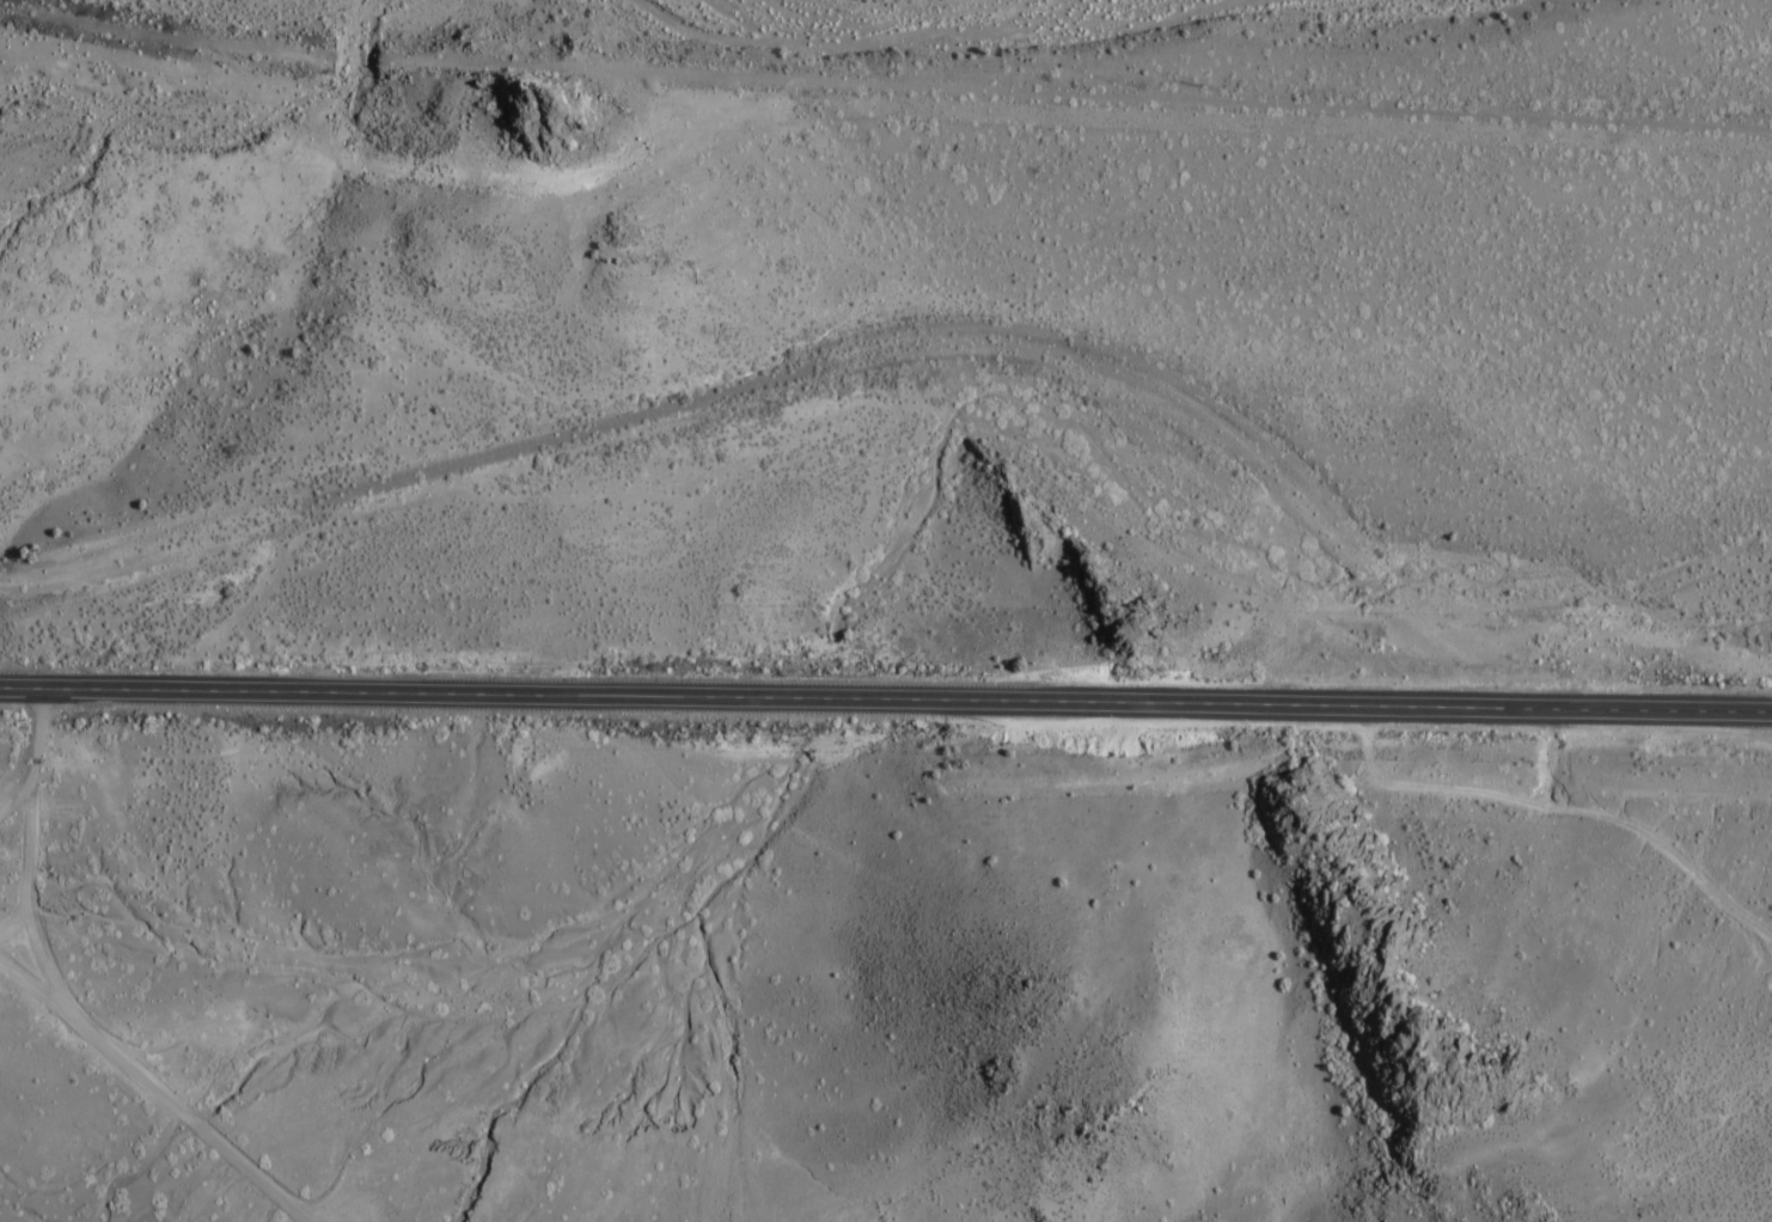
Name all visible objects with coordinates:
road: (886, 702)
road: (1553, 811)
road: (62, 1006)

